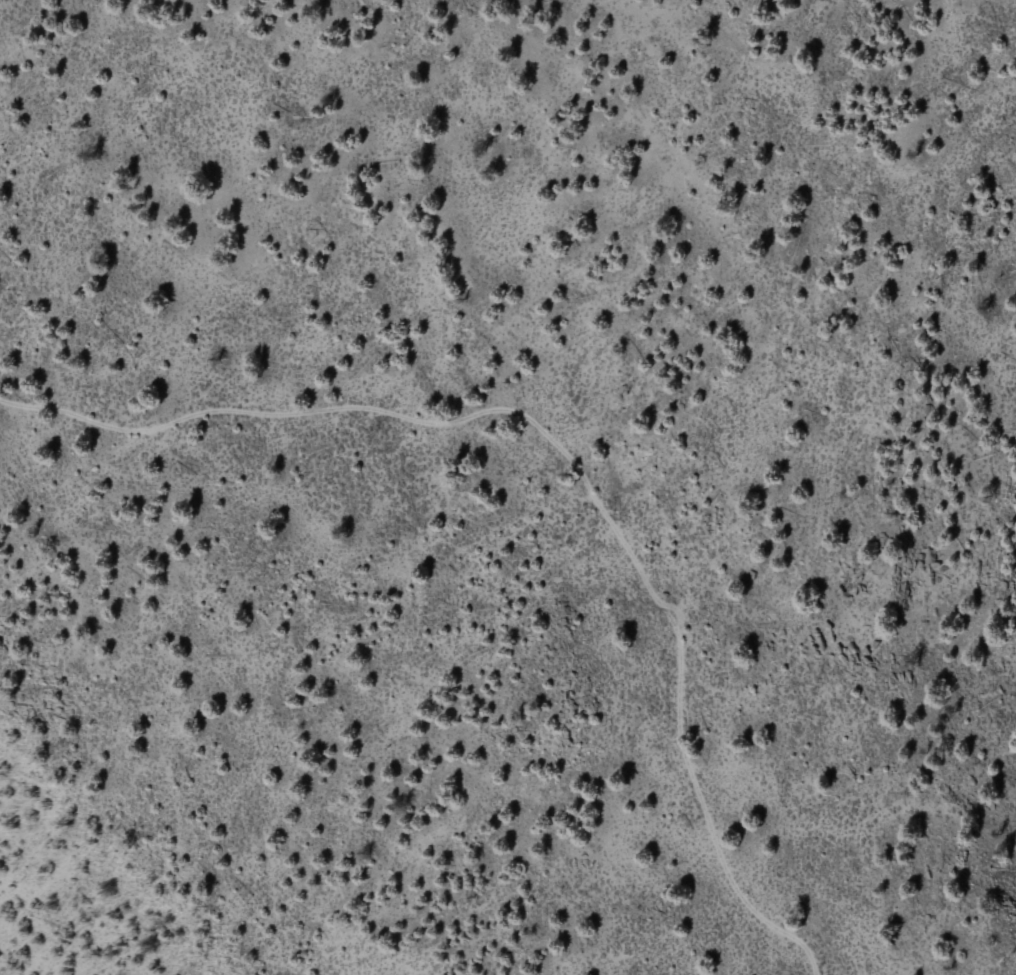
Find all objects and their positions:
road: (567, 458)

